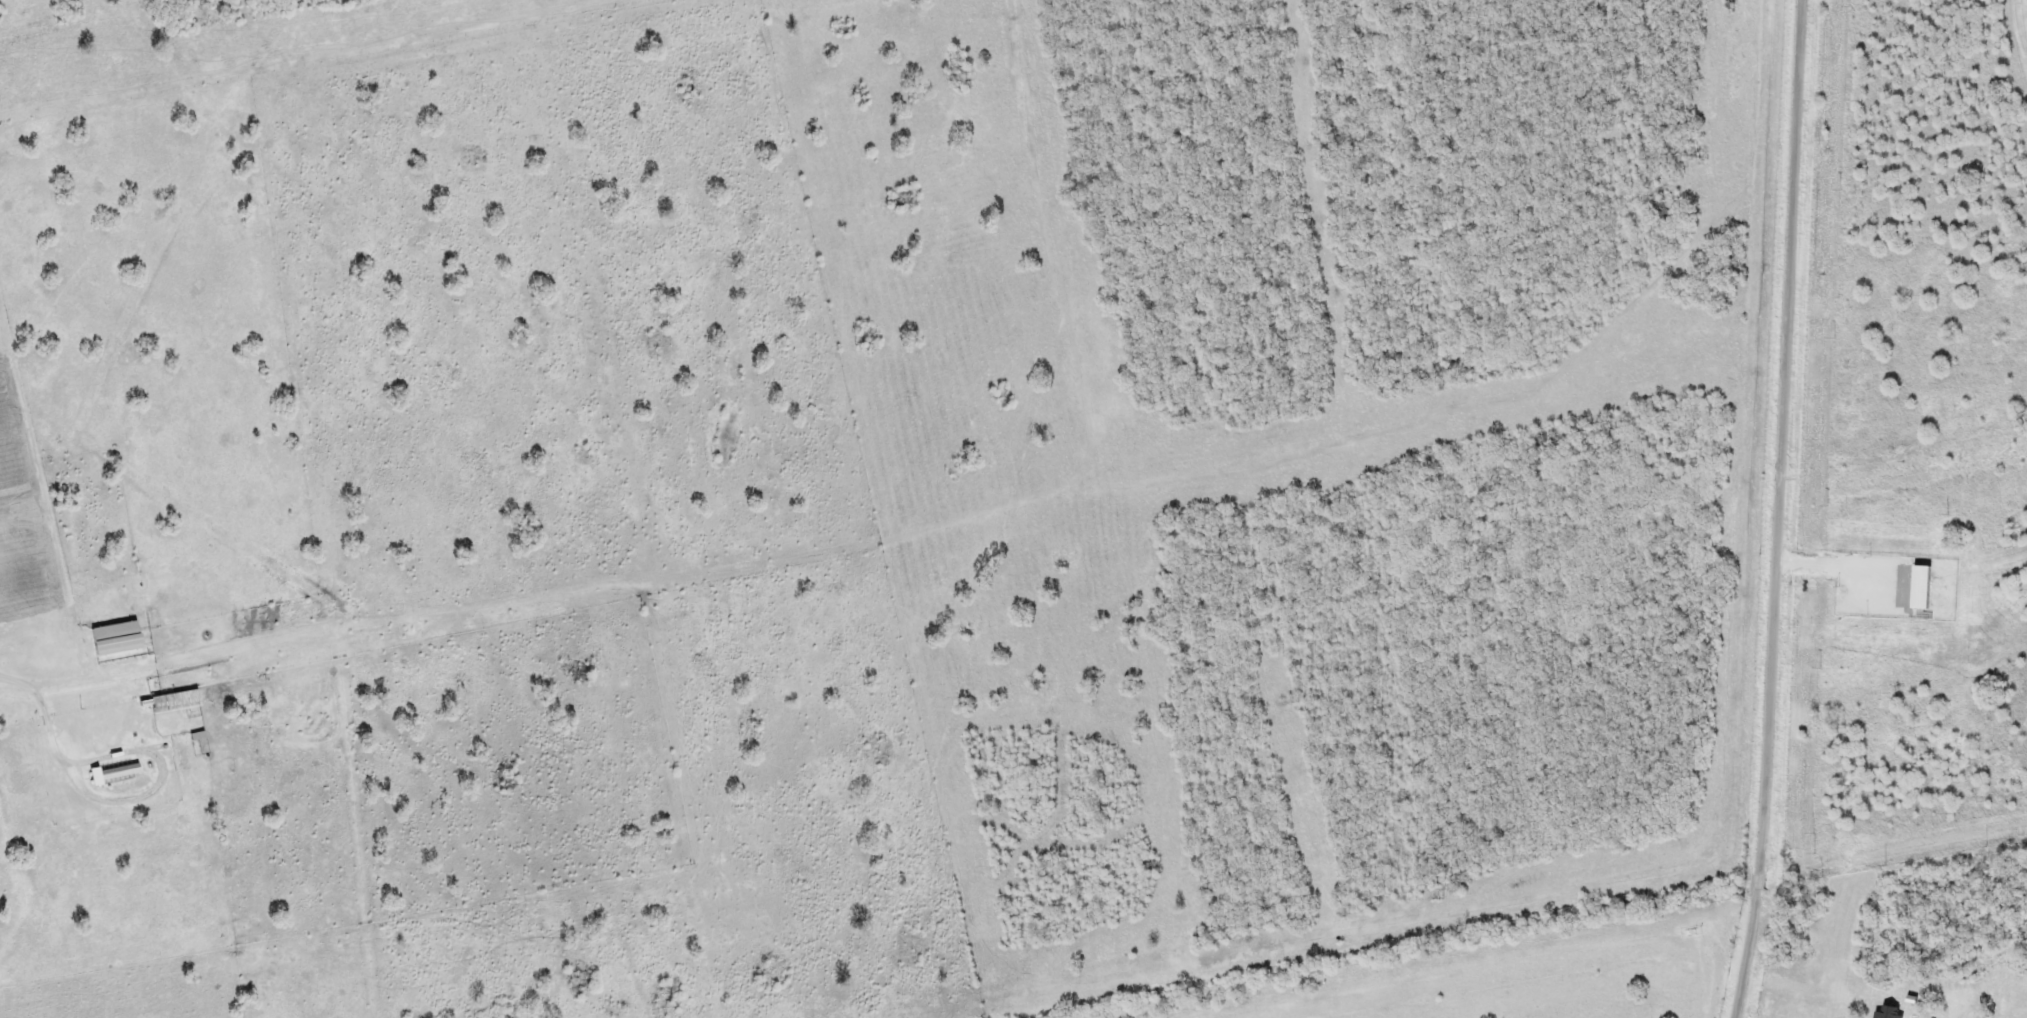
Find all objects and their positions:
road: (1784, 509)
building: (1921, 588)
building: (114, 638)
building: (112, 773)
building: (1890, 1013)

